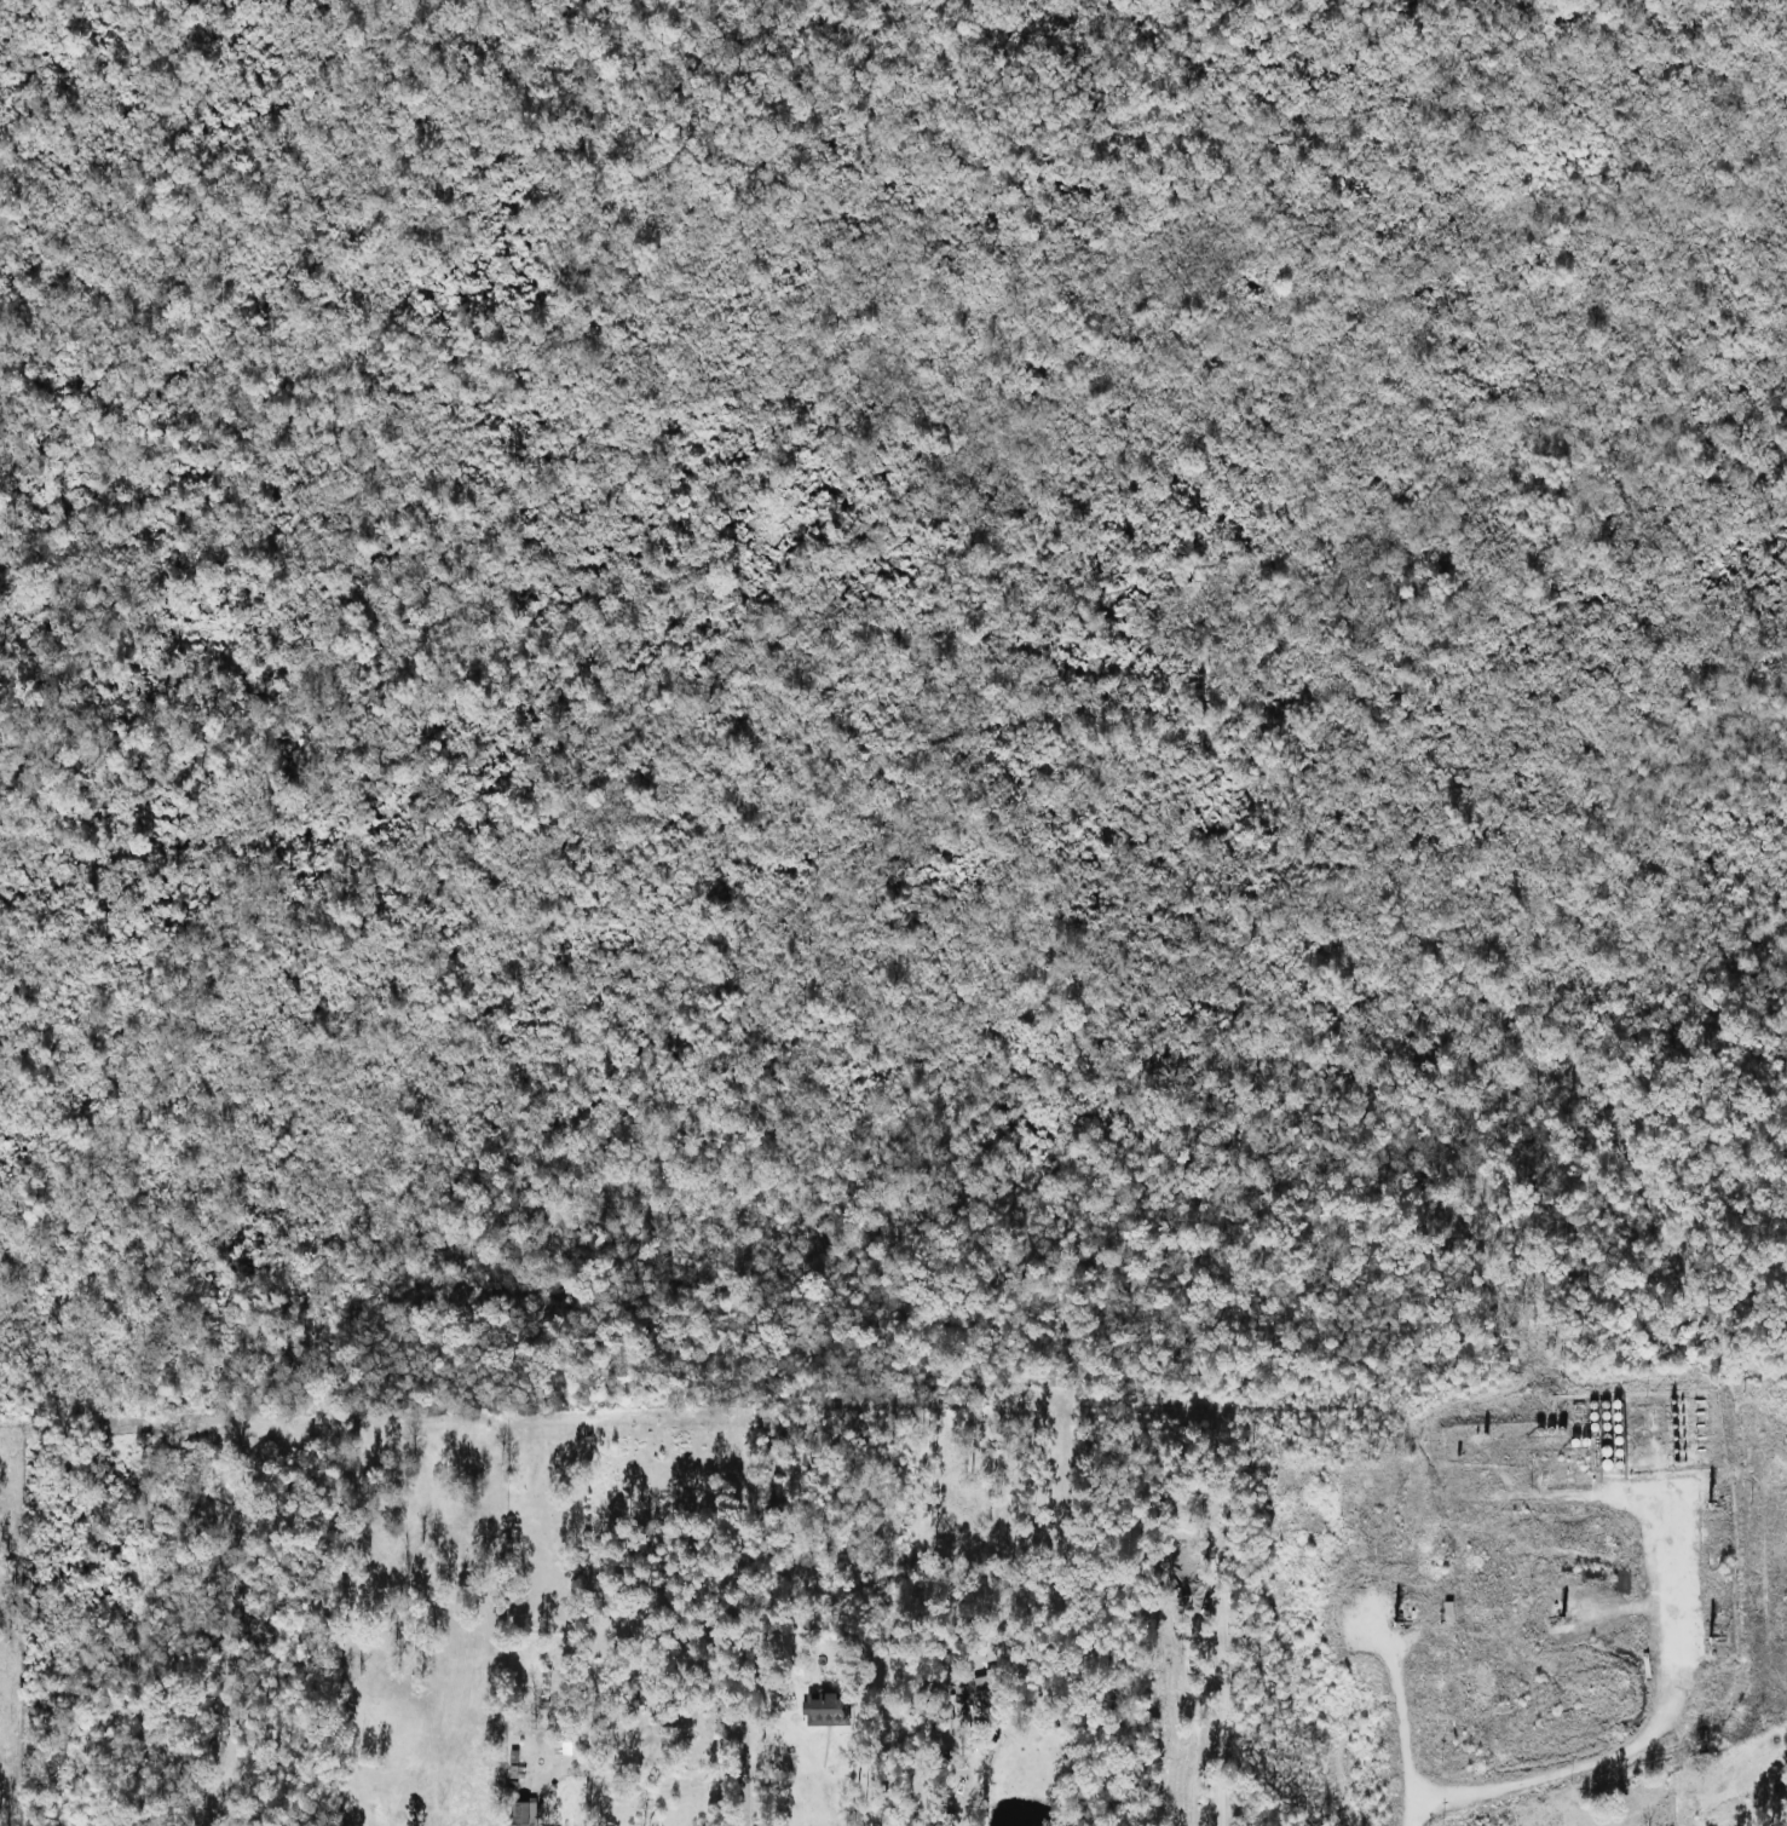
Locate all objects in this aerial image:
building: (826, 1710)
road: (1632, 1745)
road: (834, 1799)
road: (972, 1804)

